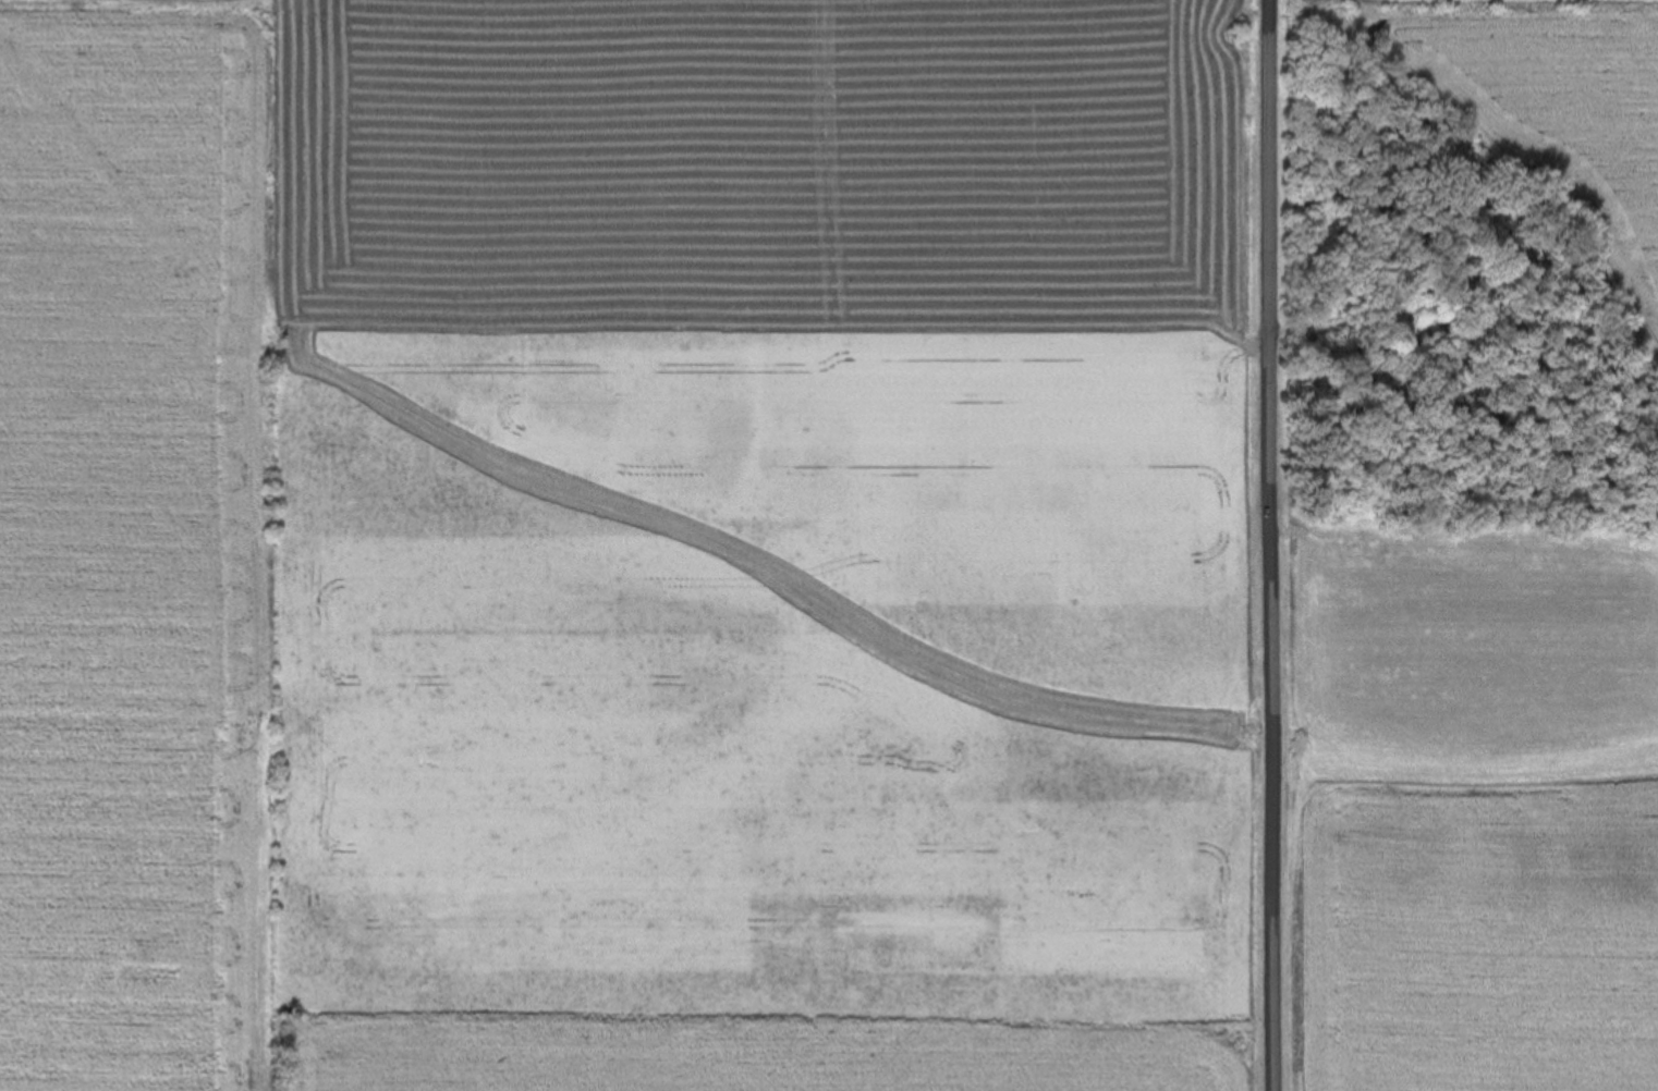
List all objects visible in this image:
road: (1269, 545)

